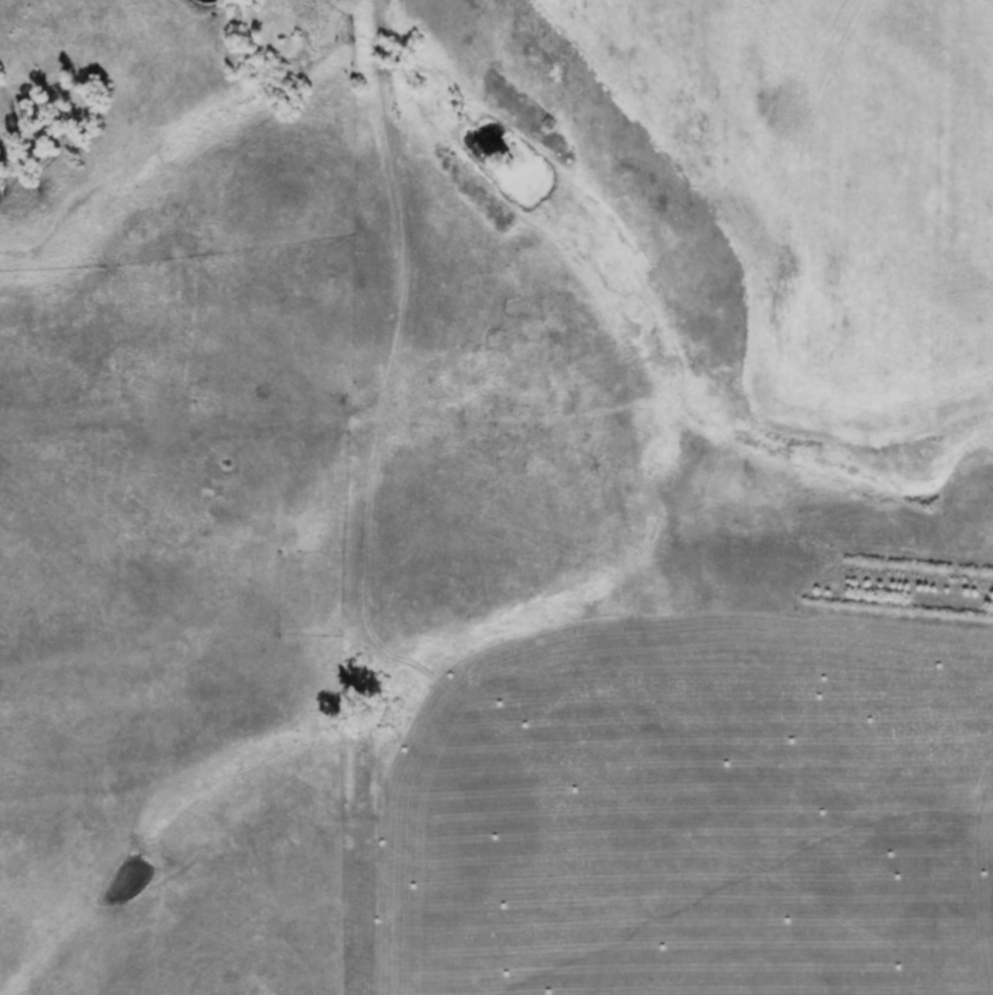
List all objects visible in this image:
road: (387, 497)

